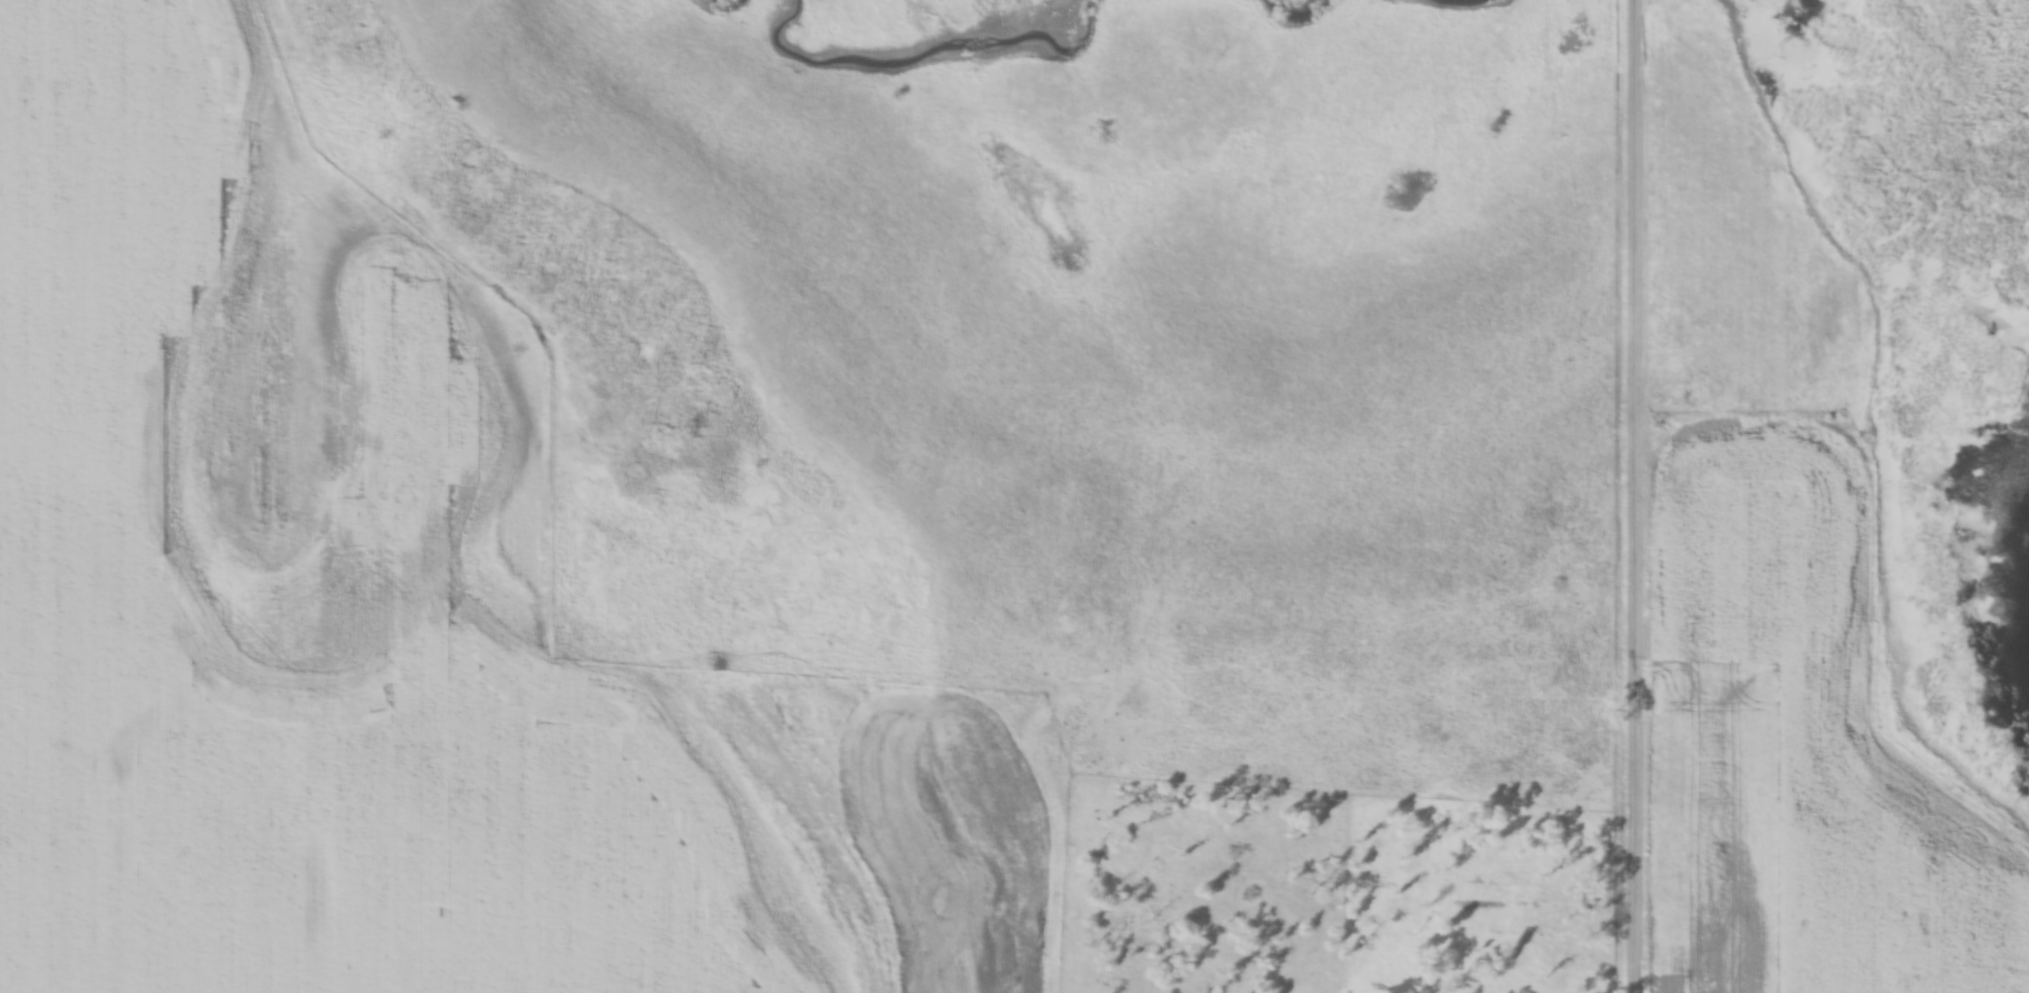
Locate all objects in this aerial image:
road: (1633, 496)

